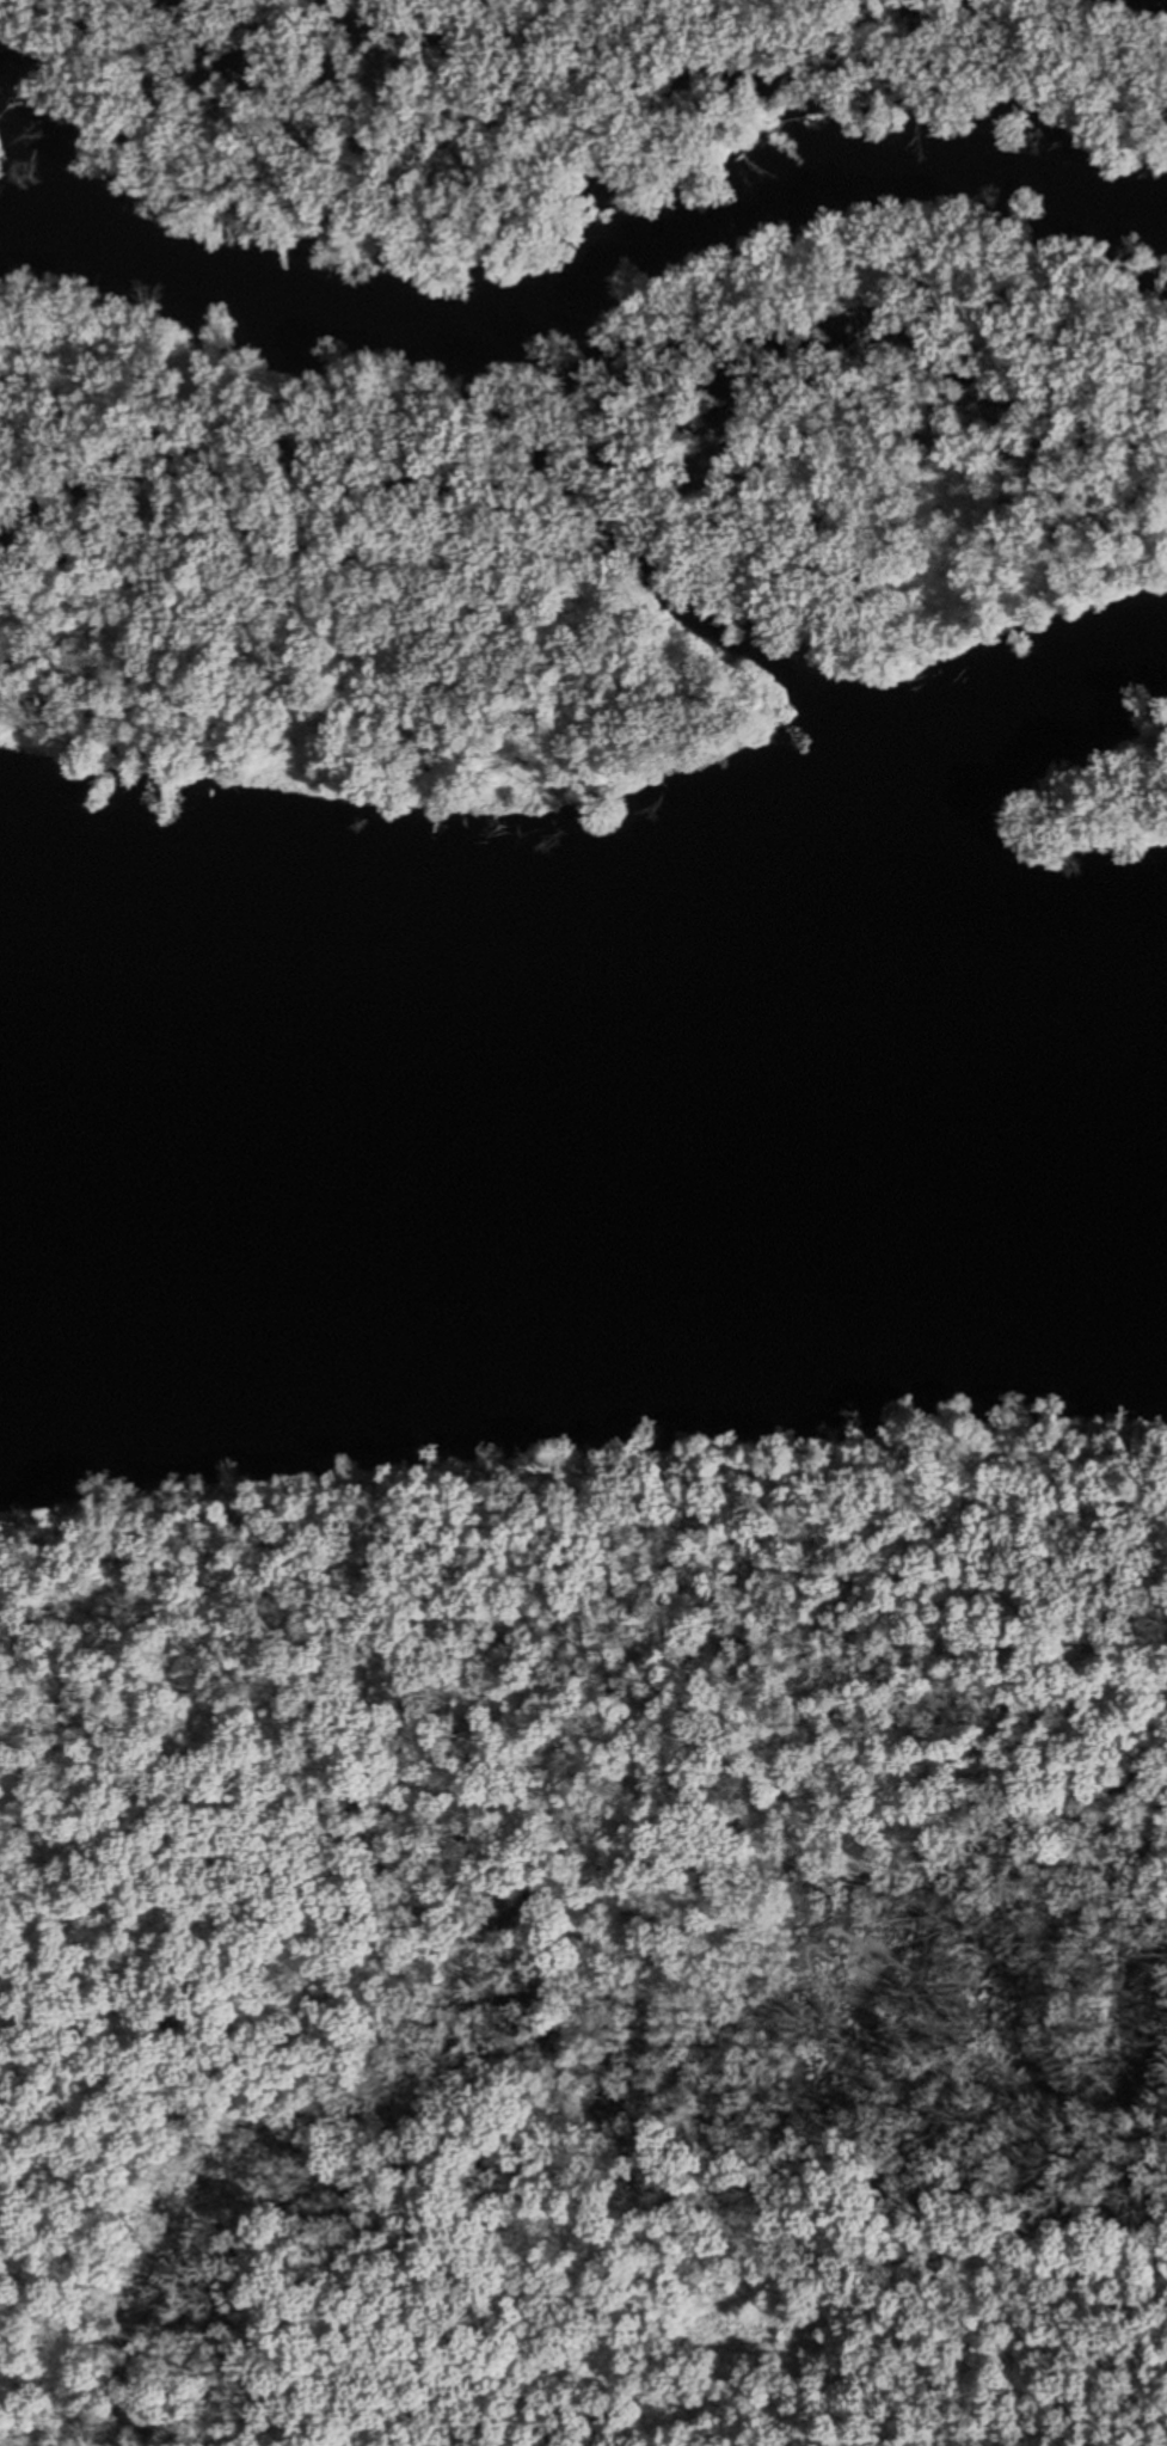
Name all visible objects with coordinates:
river: (585, 1136)

